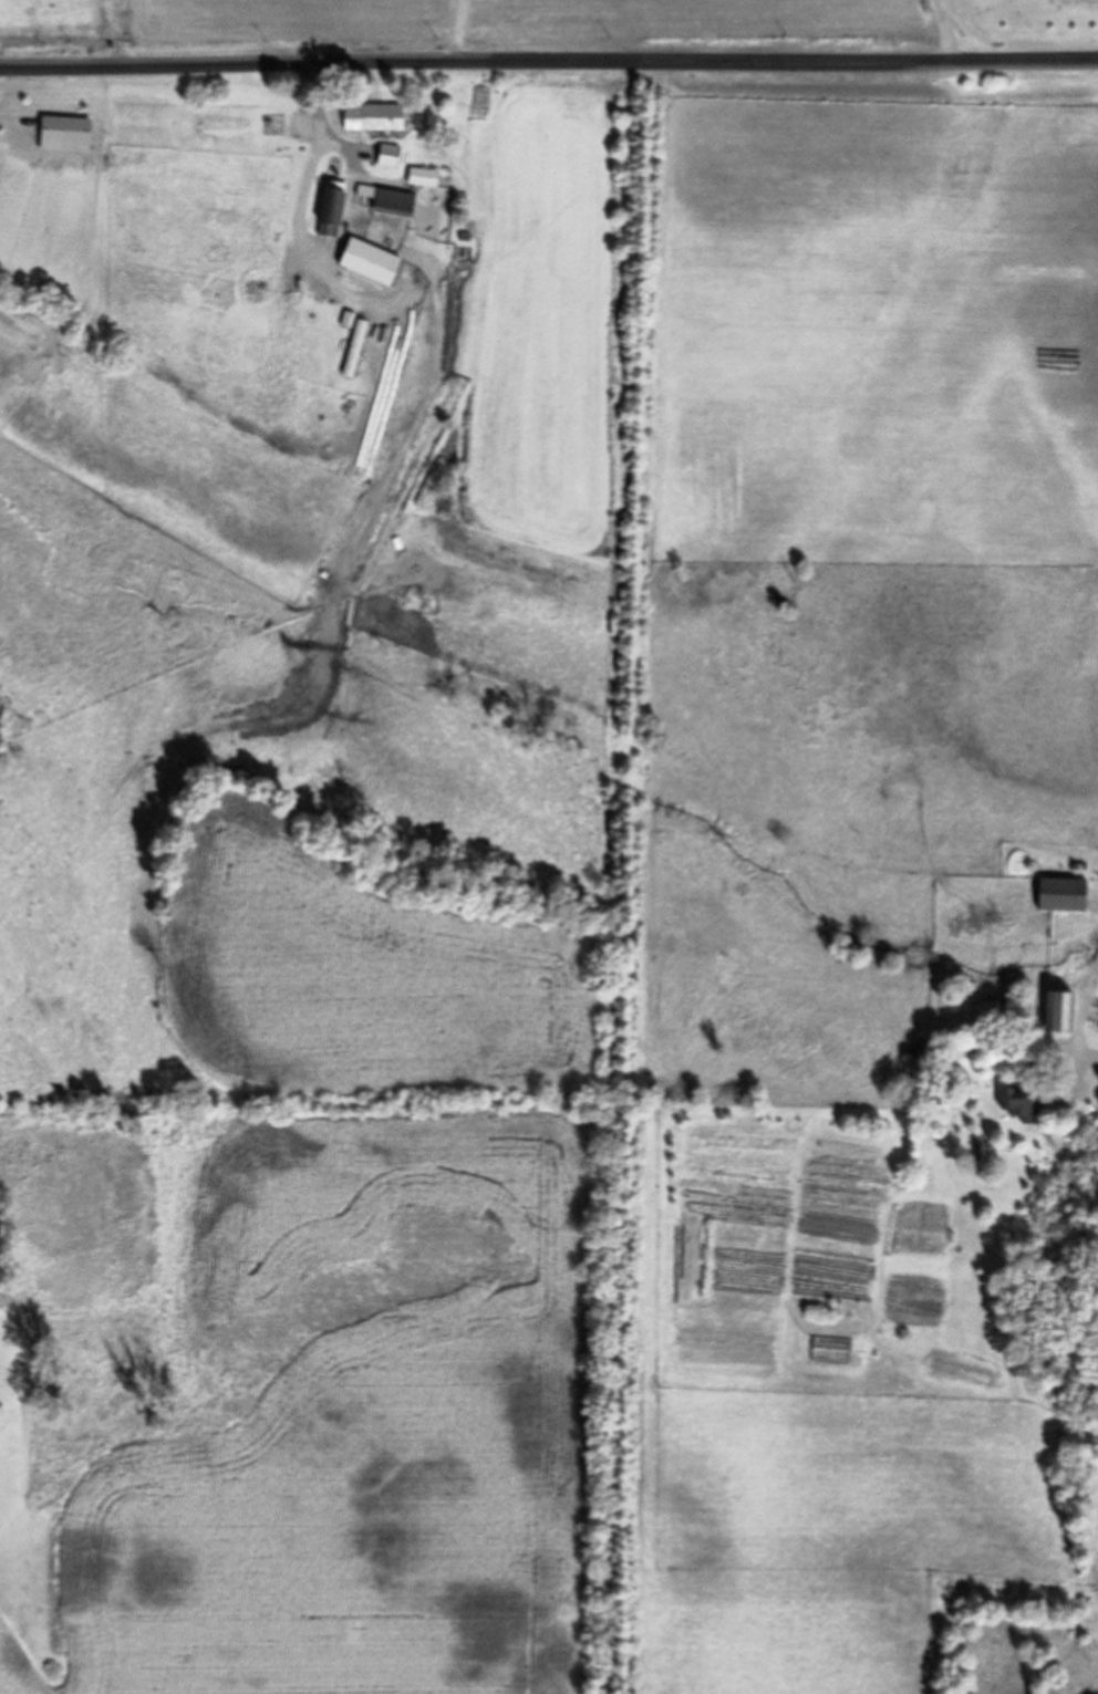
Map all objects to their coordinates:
road: (548, 60)
building: (366, 118)
building: (60, 135)
building: (383, 155)
building: (418, 177)
building: (384, 200)
building: (325, 208)
building: (358, 261)
building: (1056, 894)
building: (984, 1011)
building: (1054, 1011)
road: (1083, 1019)
building: (1017, 1108)

